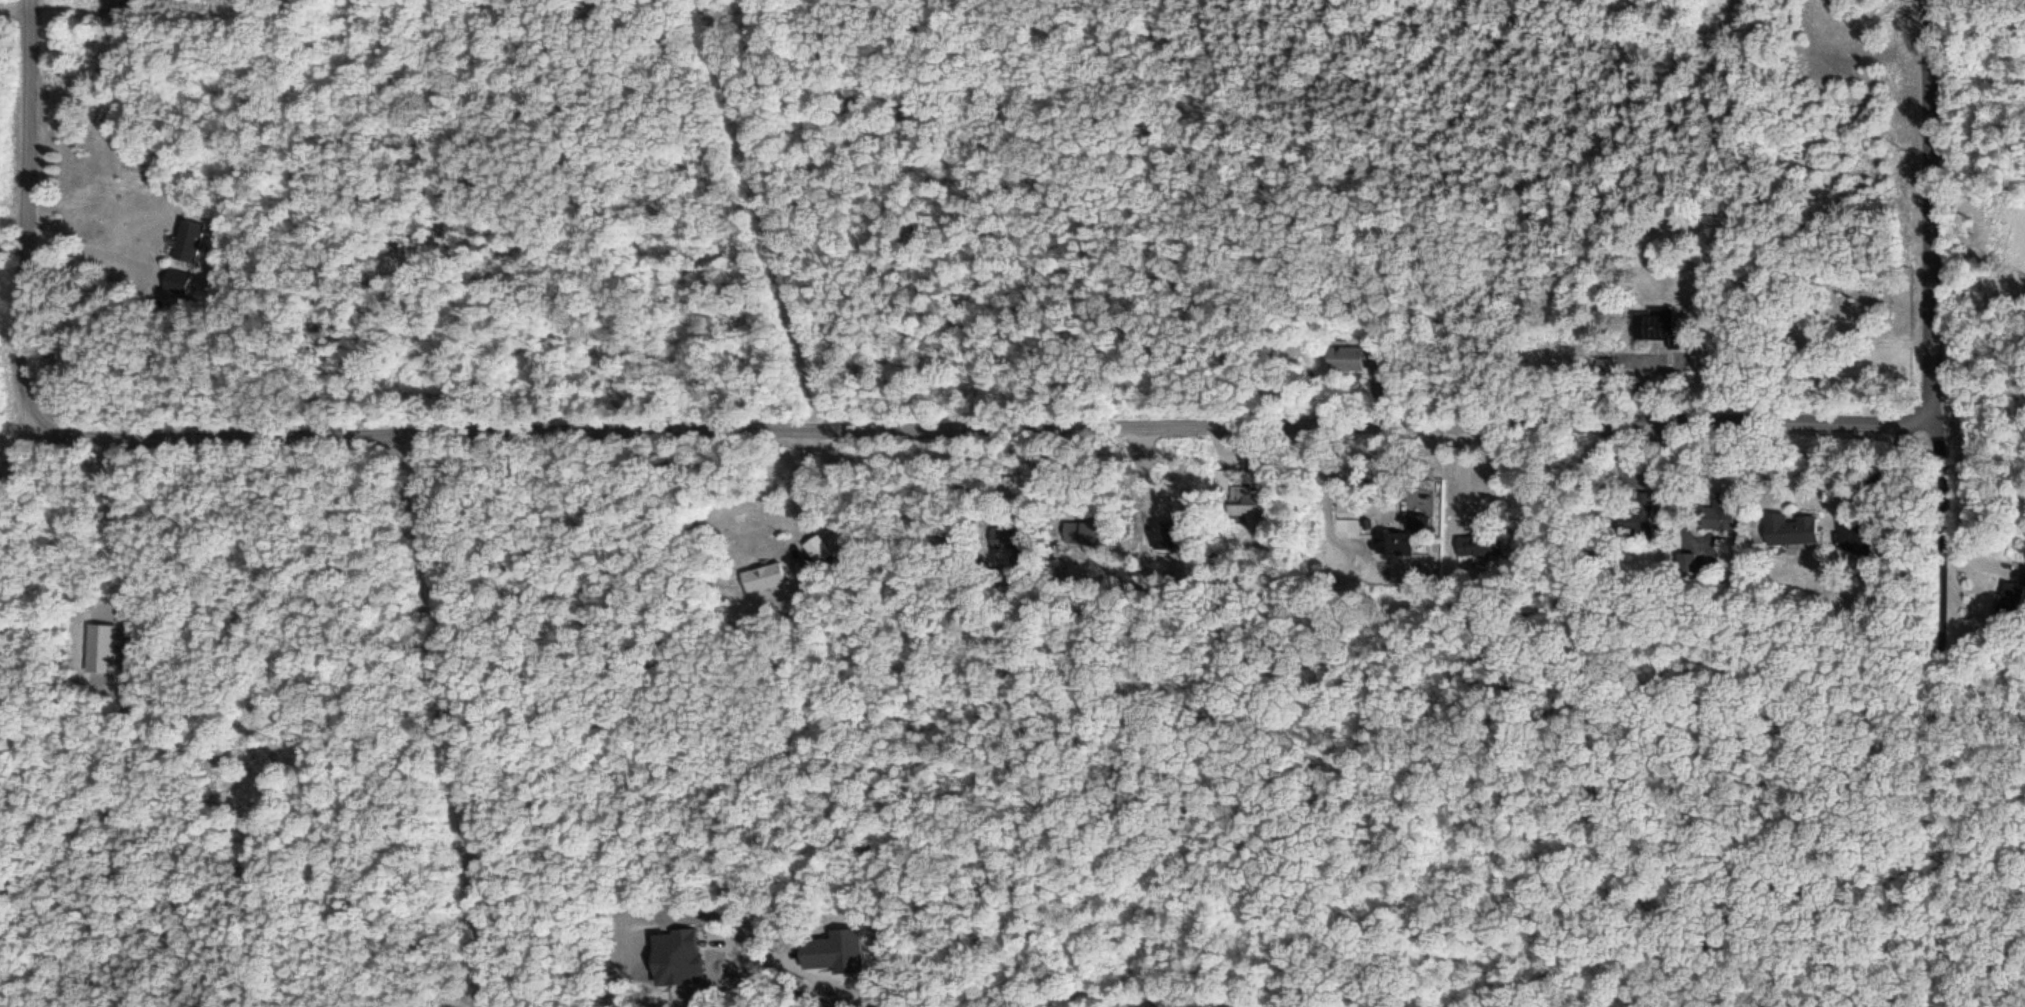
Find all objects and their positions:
road: (1933, 205)
building: (186, 239)
building: (175, 279)
building: (1659, 326)
park: (1837, 330)
building: (1350, 355)
road: (770, 430)
building: (1241, 493)
building: (1631, 510)
building: (1717, 515)
building: (1078, 527)
building: (1161, 527)
building: (1788, 527)
building: (1001, 535)
building: (1390, 540)
building: (1476, 543)
road: (67, 544)
building: (761, 575)
building: (2009, 596)
road: (1936, 709)
road: (450, 720)

